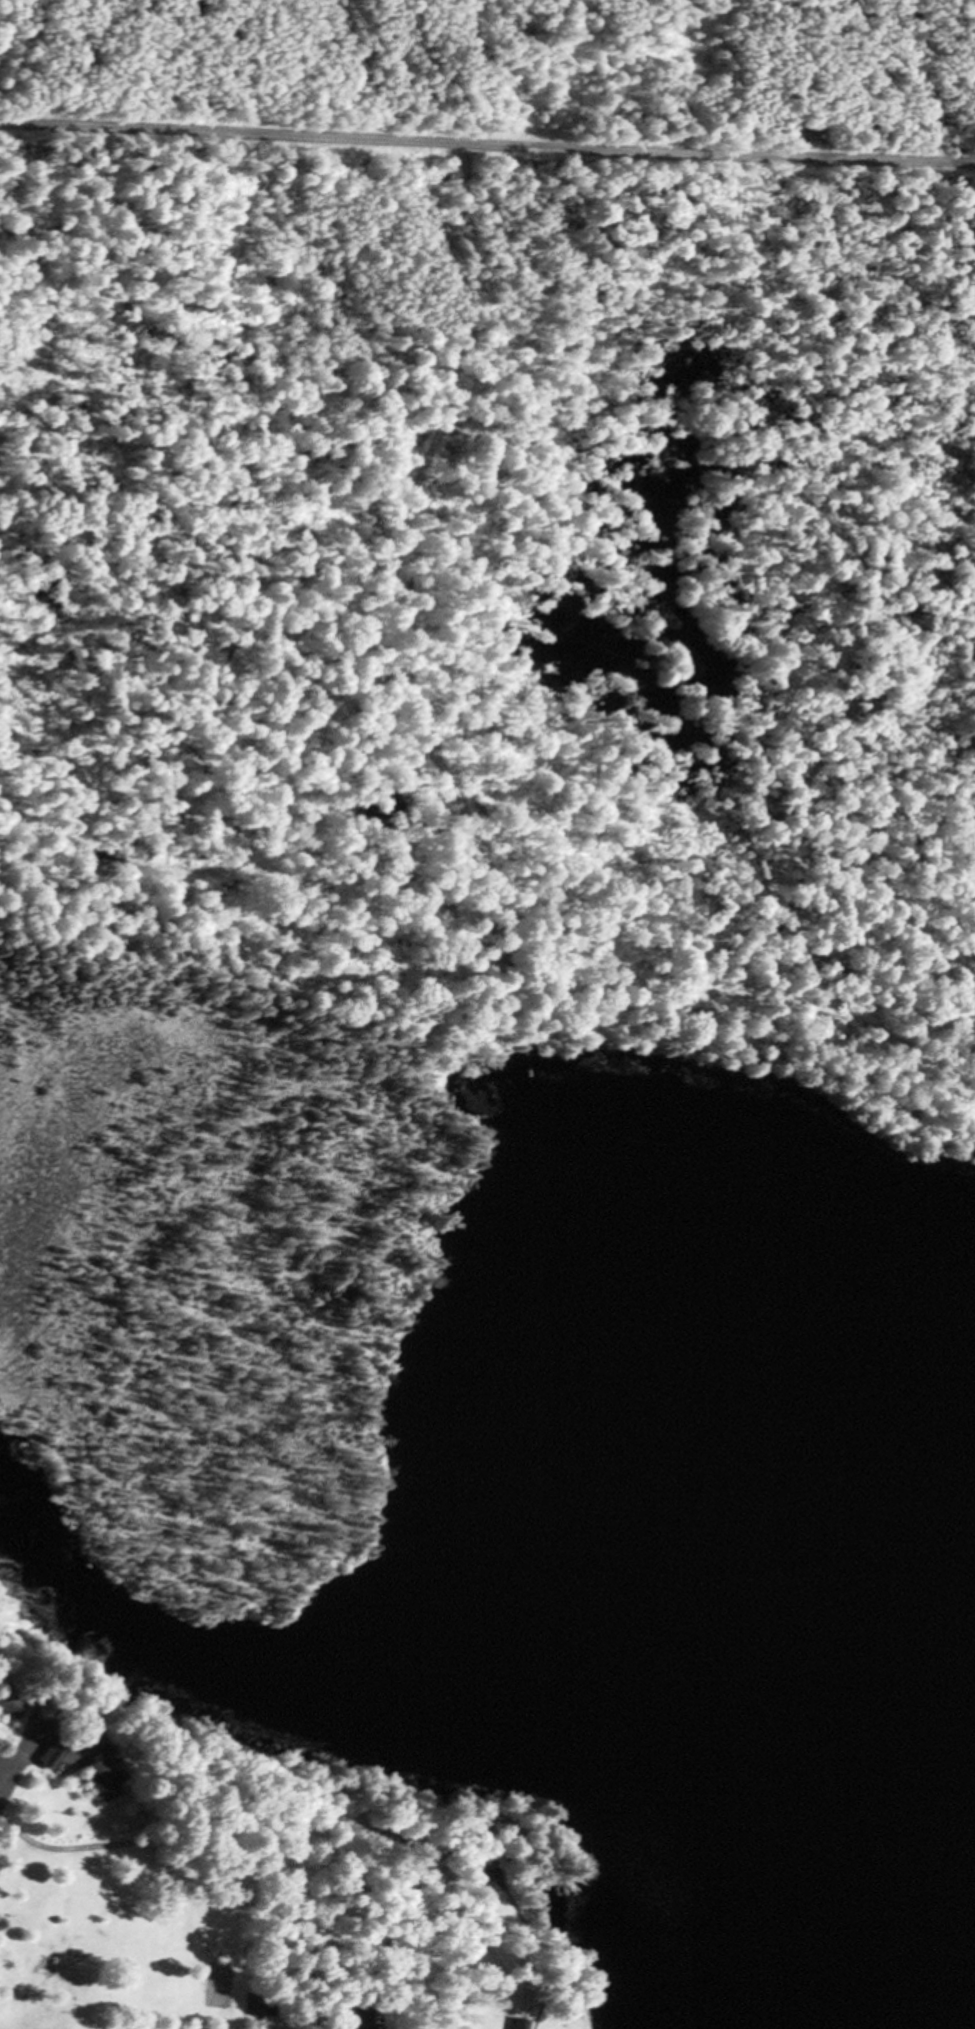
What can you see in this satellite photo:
road: (875, 10)
road: (487, 142)
park: (195, 1316)
building: (10, 1702)
building: (52, 1737)
road: (8, 1776)
building: (100, 1777)
park: (245, 1878)
building: (486, 1878)
building: (515, 2023)

